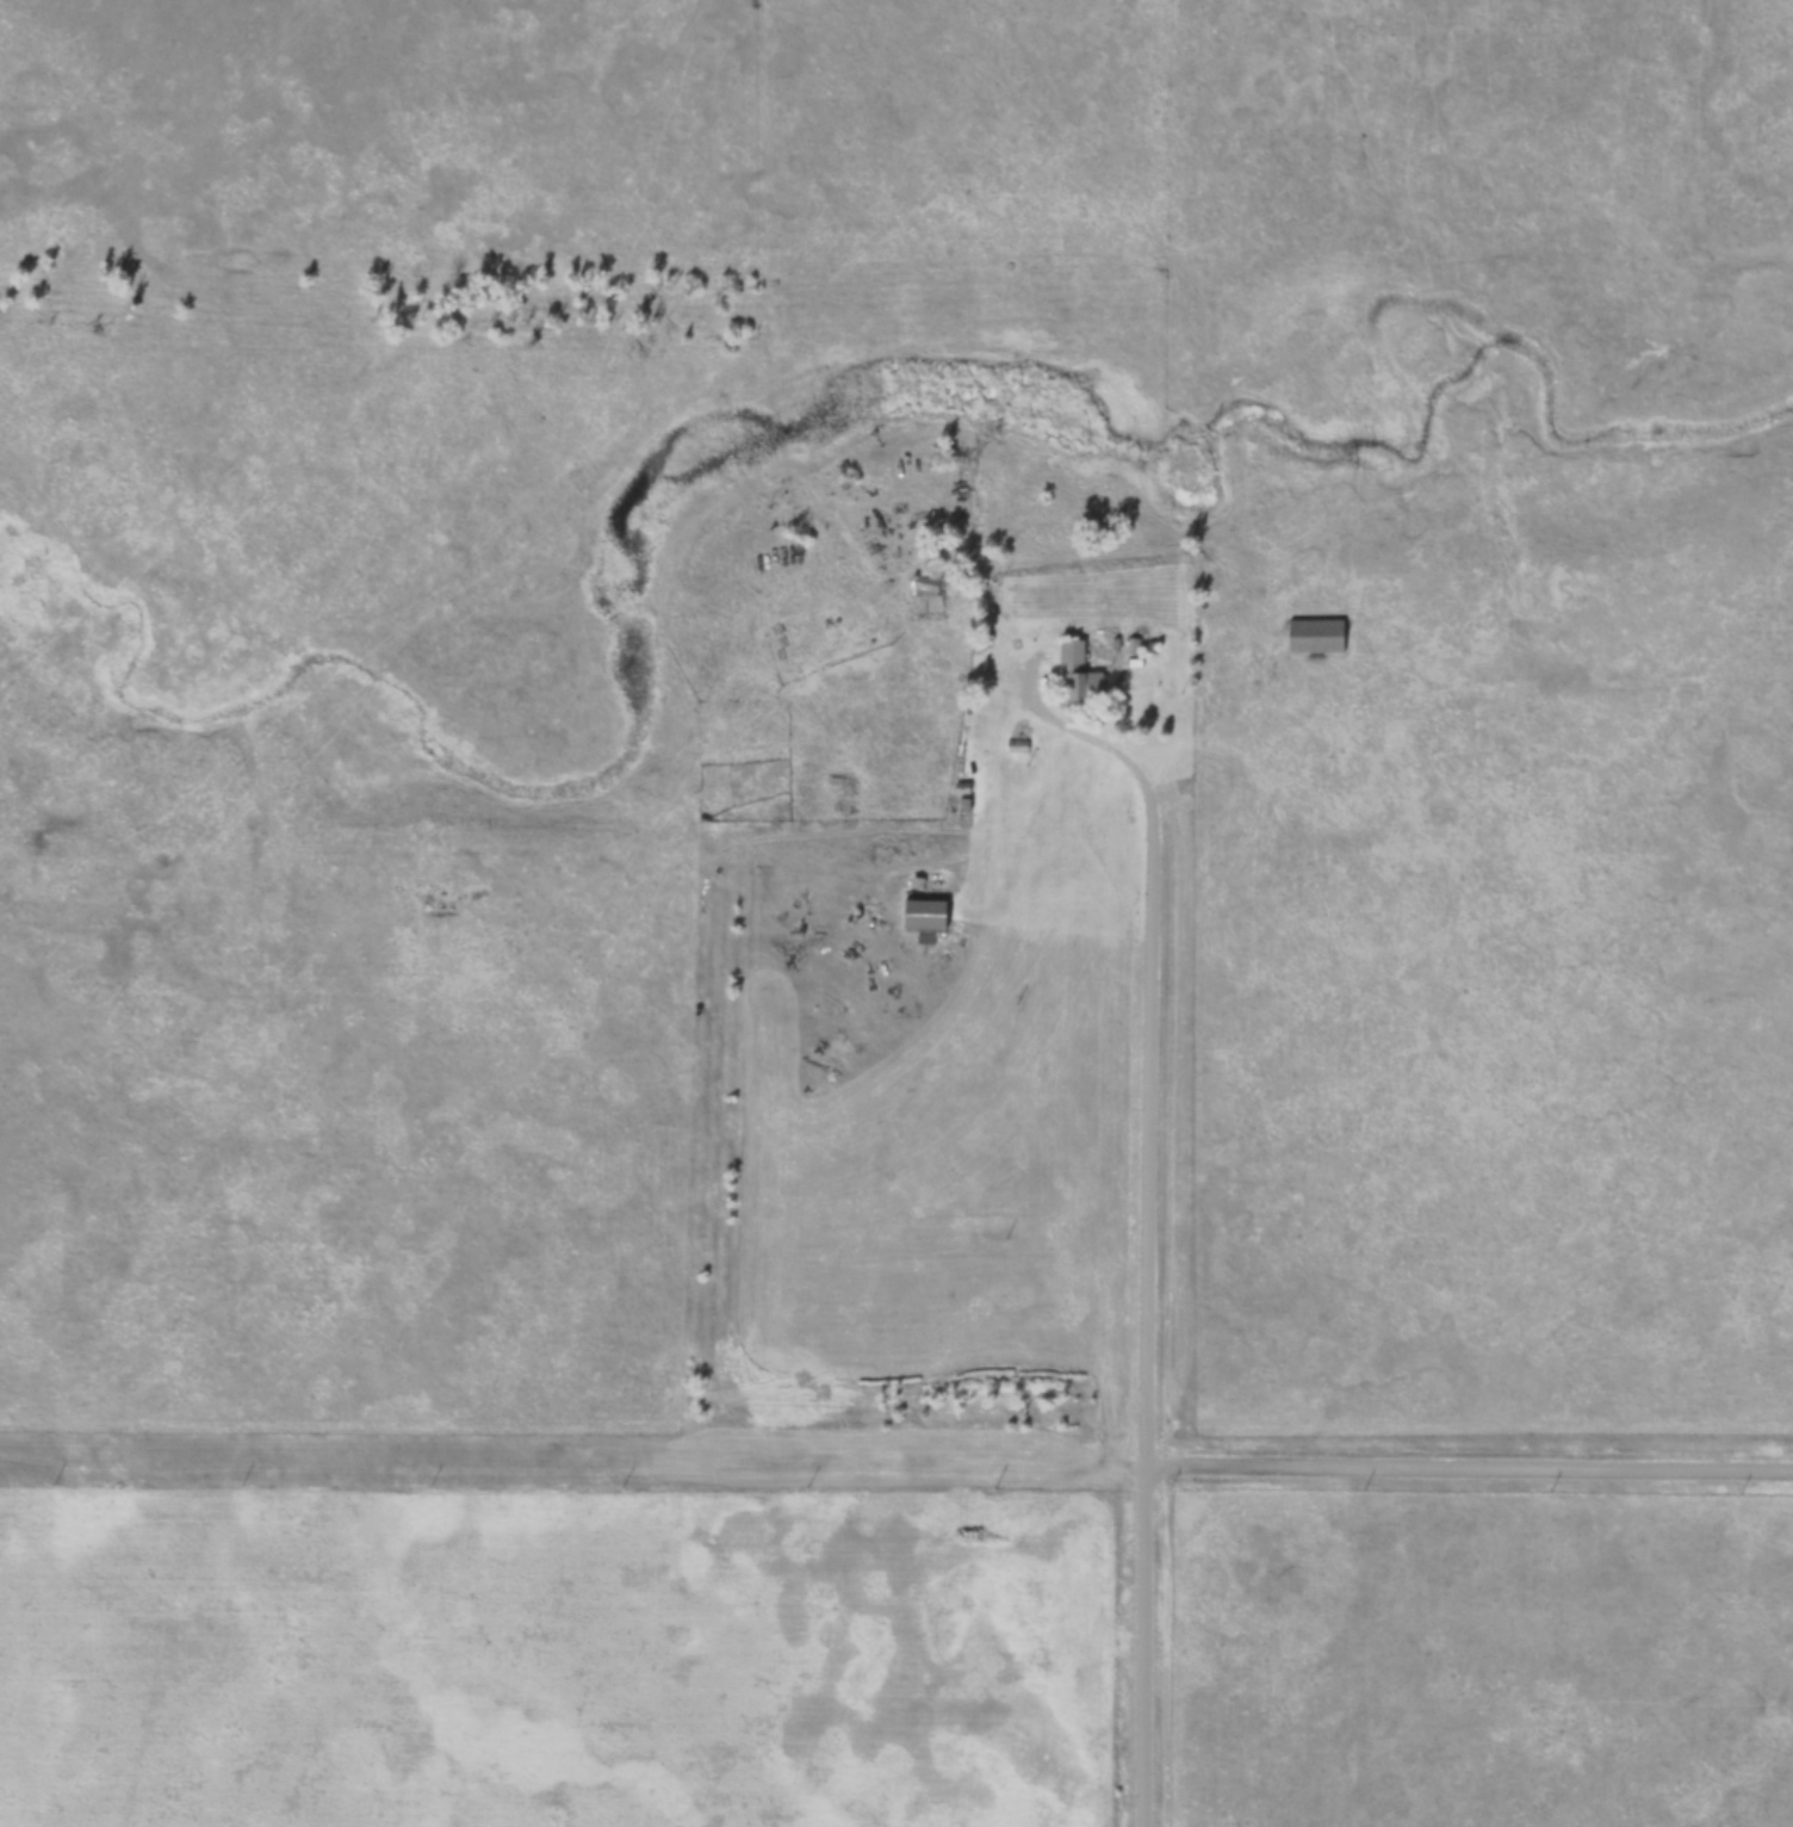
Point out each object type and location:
building: (929, 601)
building: (1314, 634)
building: (1077, 674)
building: (838, 785)
building: (925, 912)
road: (1141, 1358)
road: (1468, 1455)

